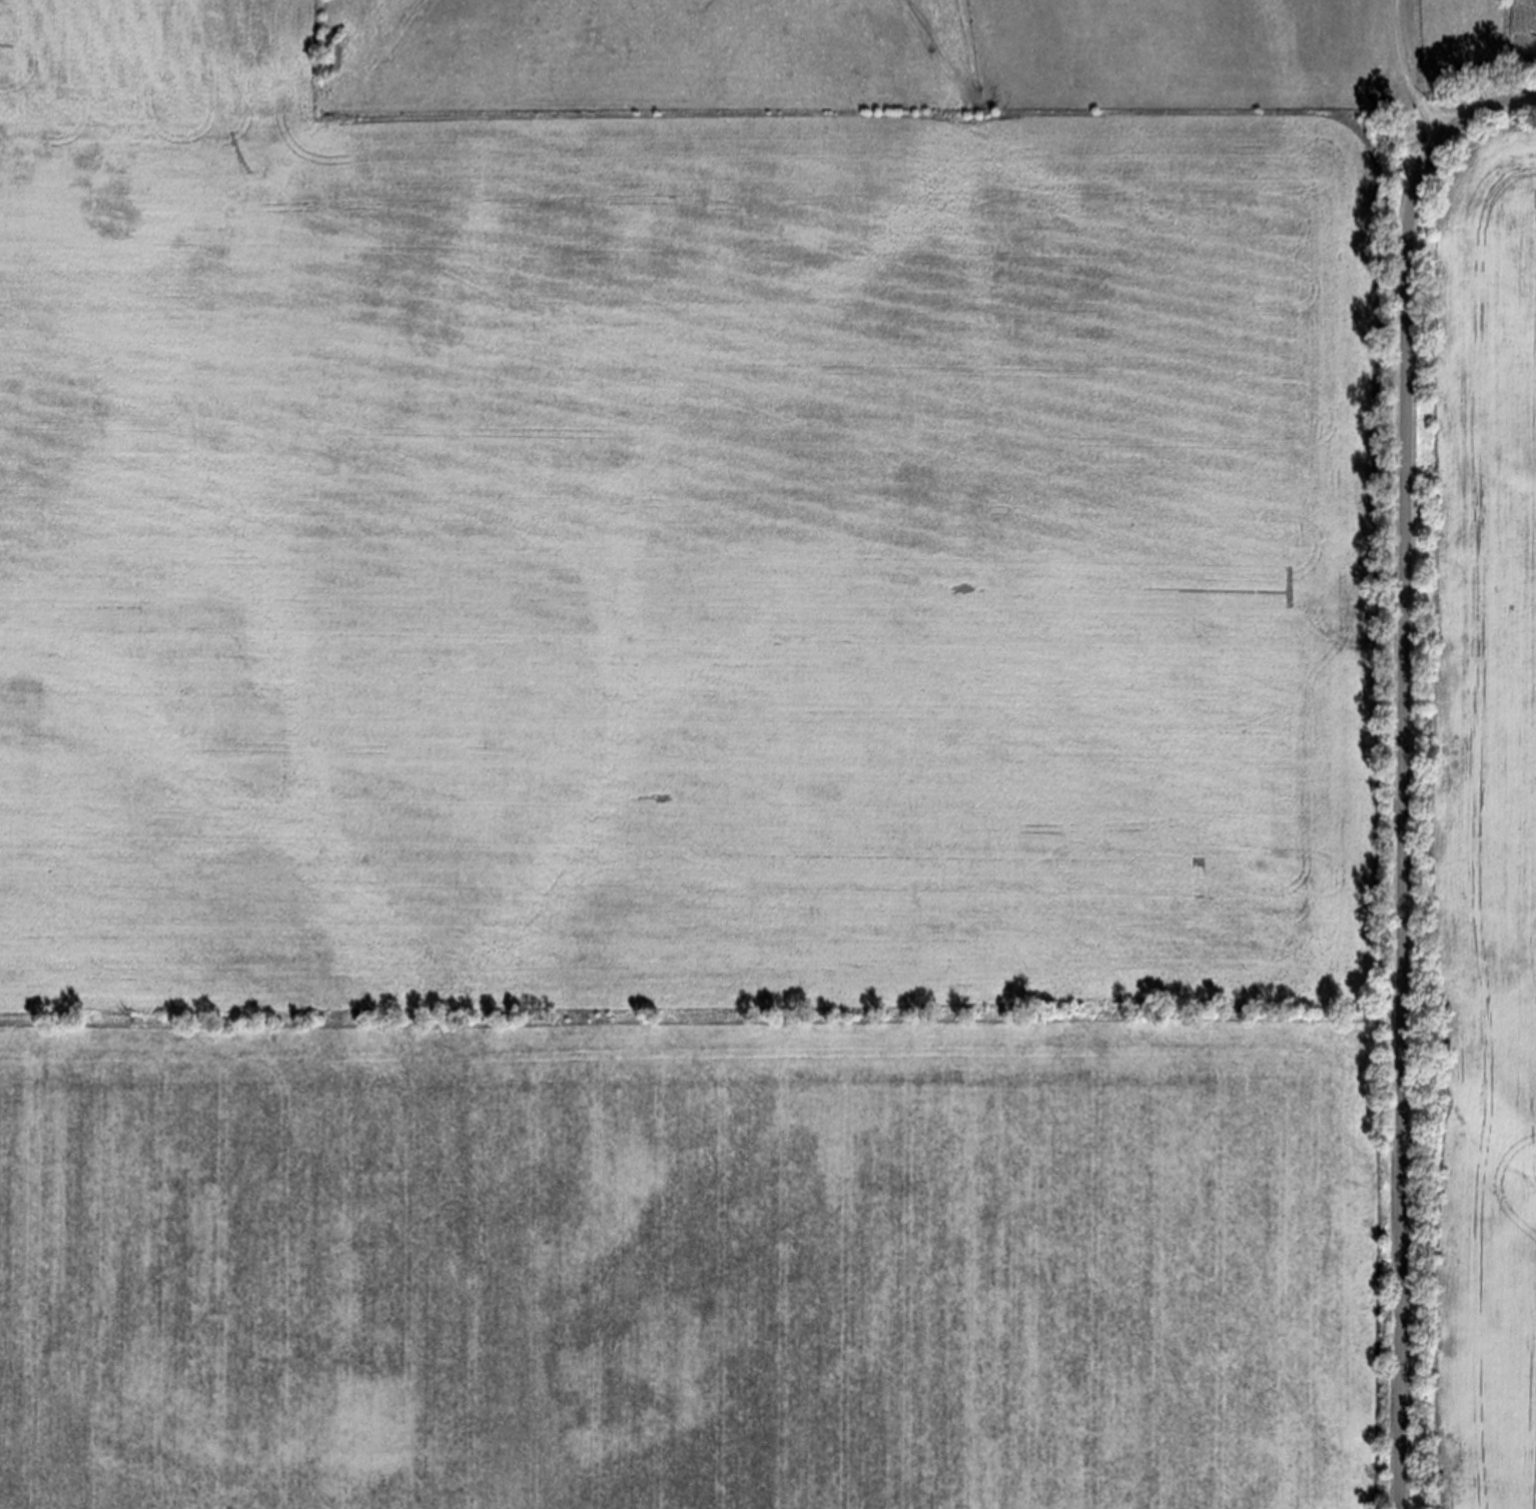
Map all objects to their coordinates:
road: (1407, 69)
road: (1411, 766)

